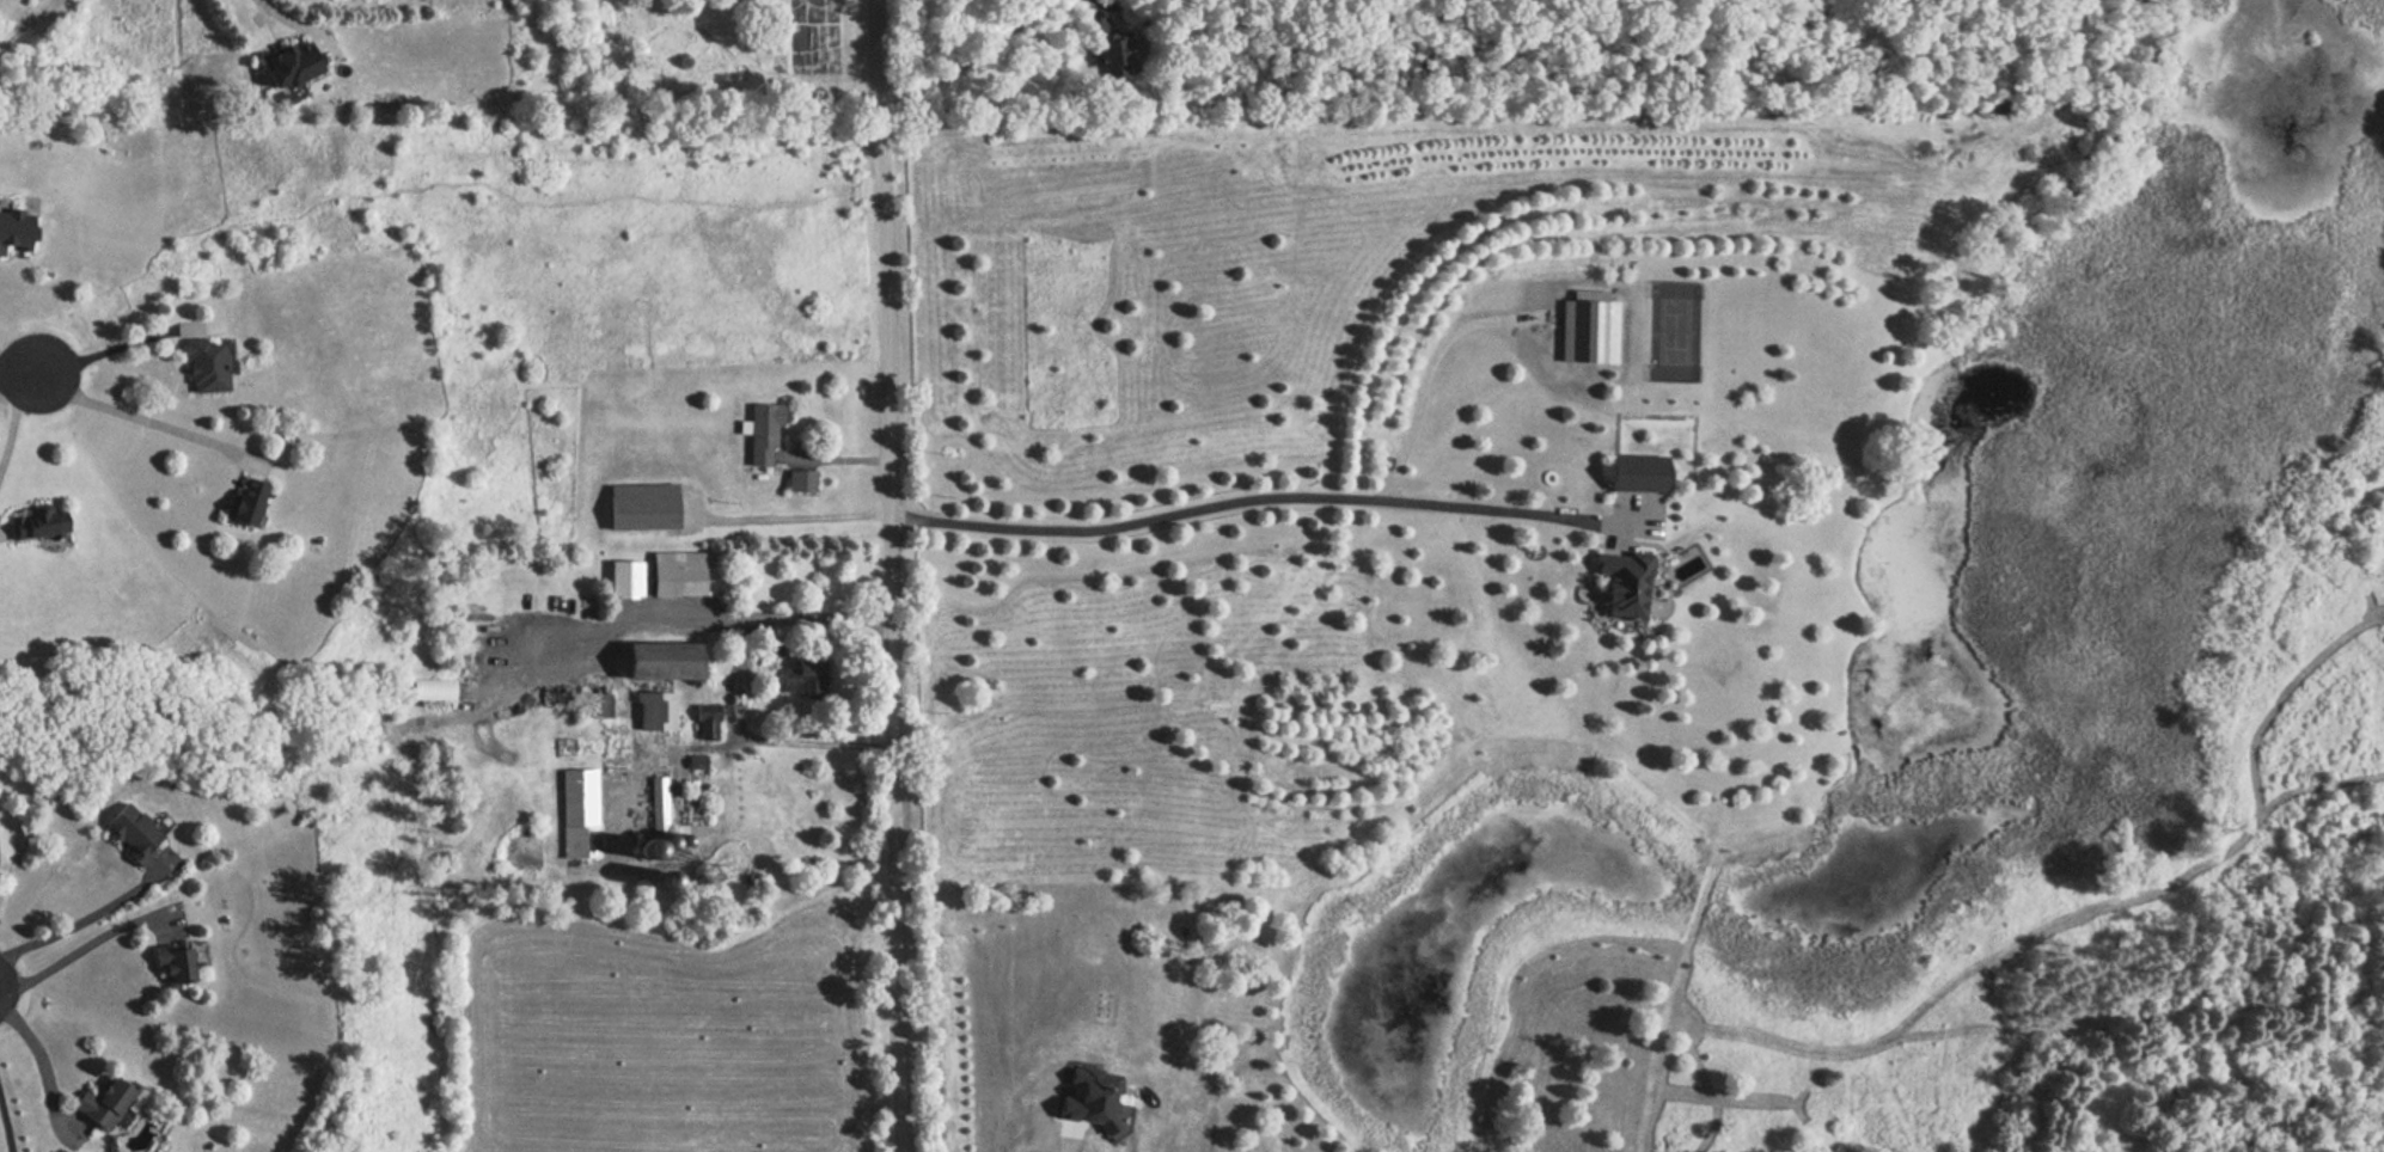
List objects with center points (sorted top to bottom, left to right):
road: (281, 16)
building: (1110, 55)
road: (977, 56)
building: (286, 65)
building: (13, 233)
park: (1676, 321)
road: (109, 351)
building: (203, 366)
road: (2, 369)
road: (1432, 369)
road: (23, 374)
road: (12, 421)
road: (149, 423)
building: (1640, 464)
building: (797, 480)
road: (1243, 492)
building: (243, 502)
building: (35, 522)
building: (673, 574)
road: (888, 575)
building: (1624, 581)
building: (655, 661)
building: (797, 679)
road: (731, 685)
building: (430, 688)
building: (592, 705)
building: (653, 711)
building: (705, 722)
building: (656, 804)
building: (577, 814)
building: (134, 831)
road: (82, 919)
road: (82, 948)
building: (171, 966)
road: (41, 1059)
building: (99, 1103)
road: (6, 1127)
road: (1075, 1150)

